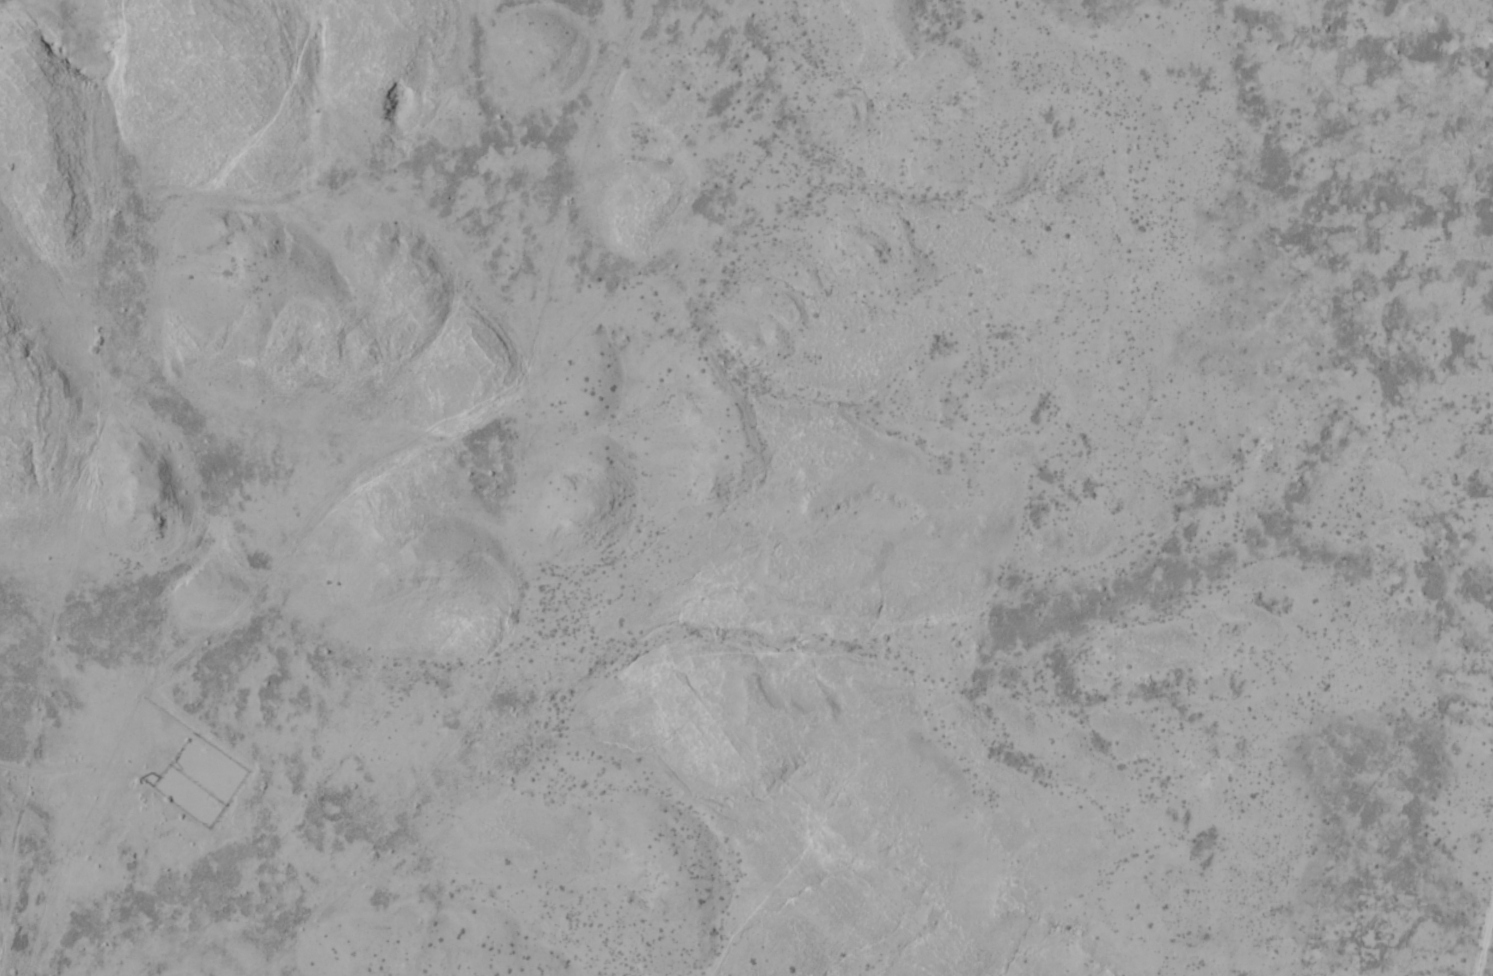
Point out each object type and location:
road: (40, 765)
road: (1485, 944)

